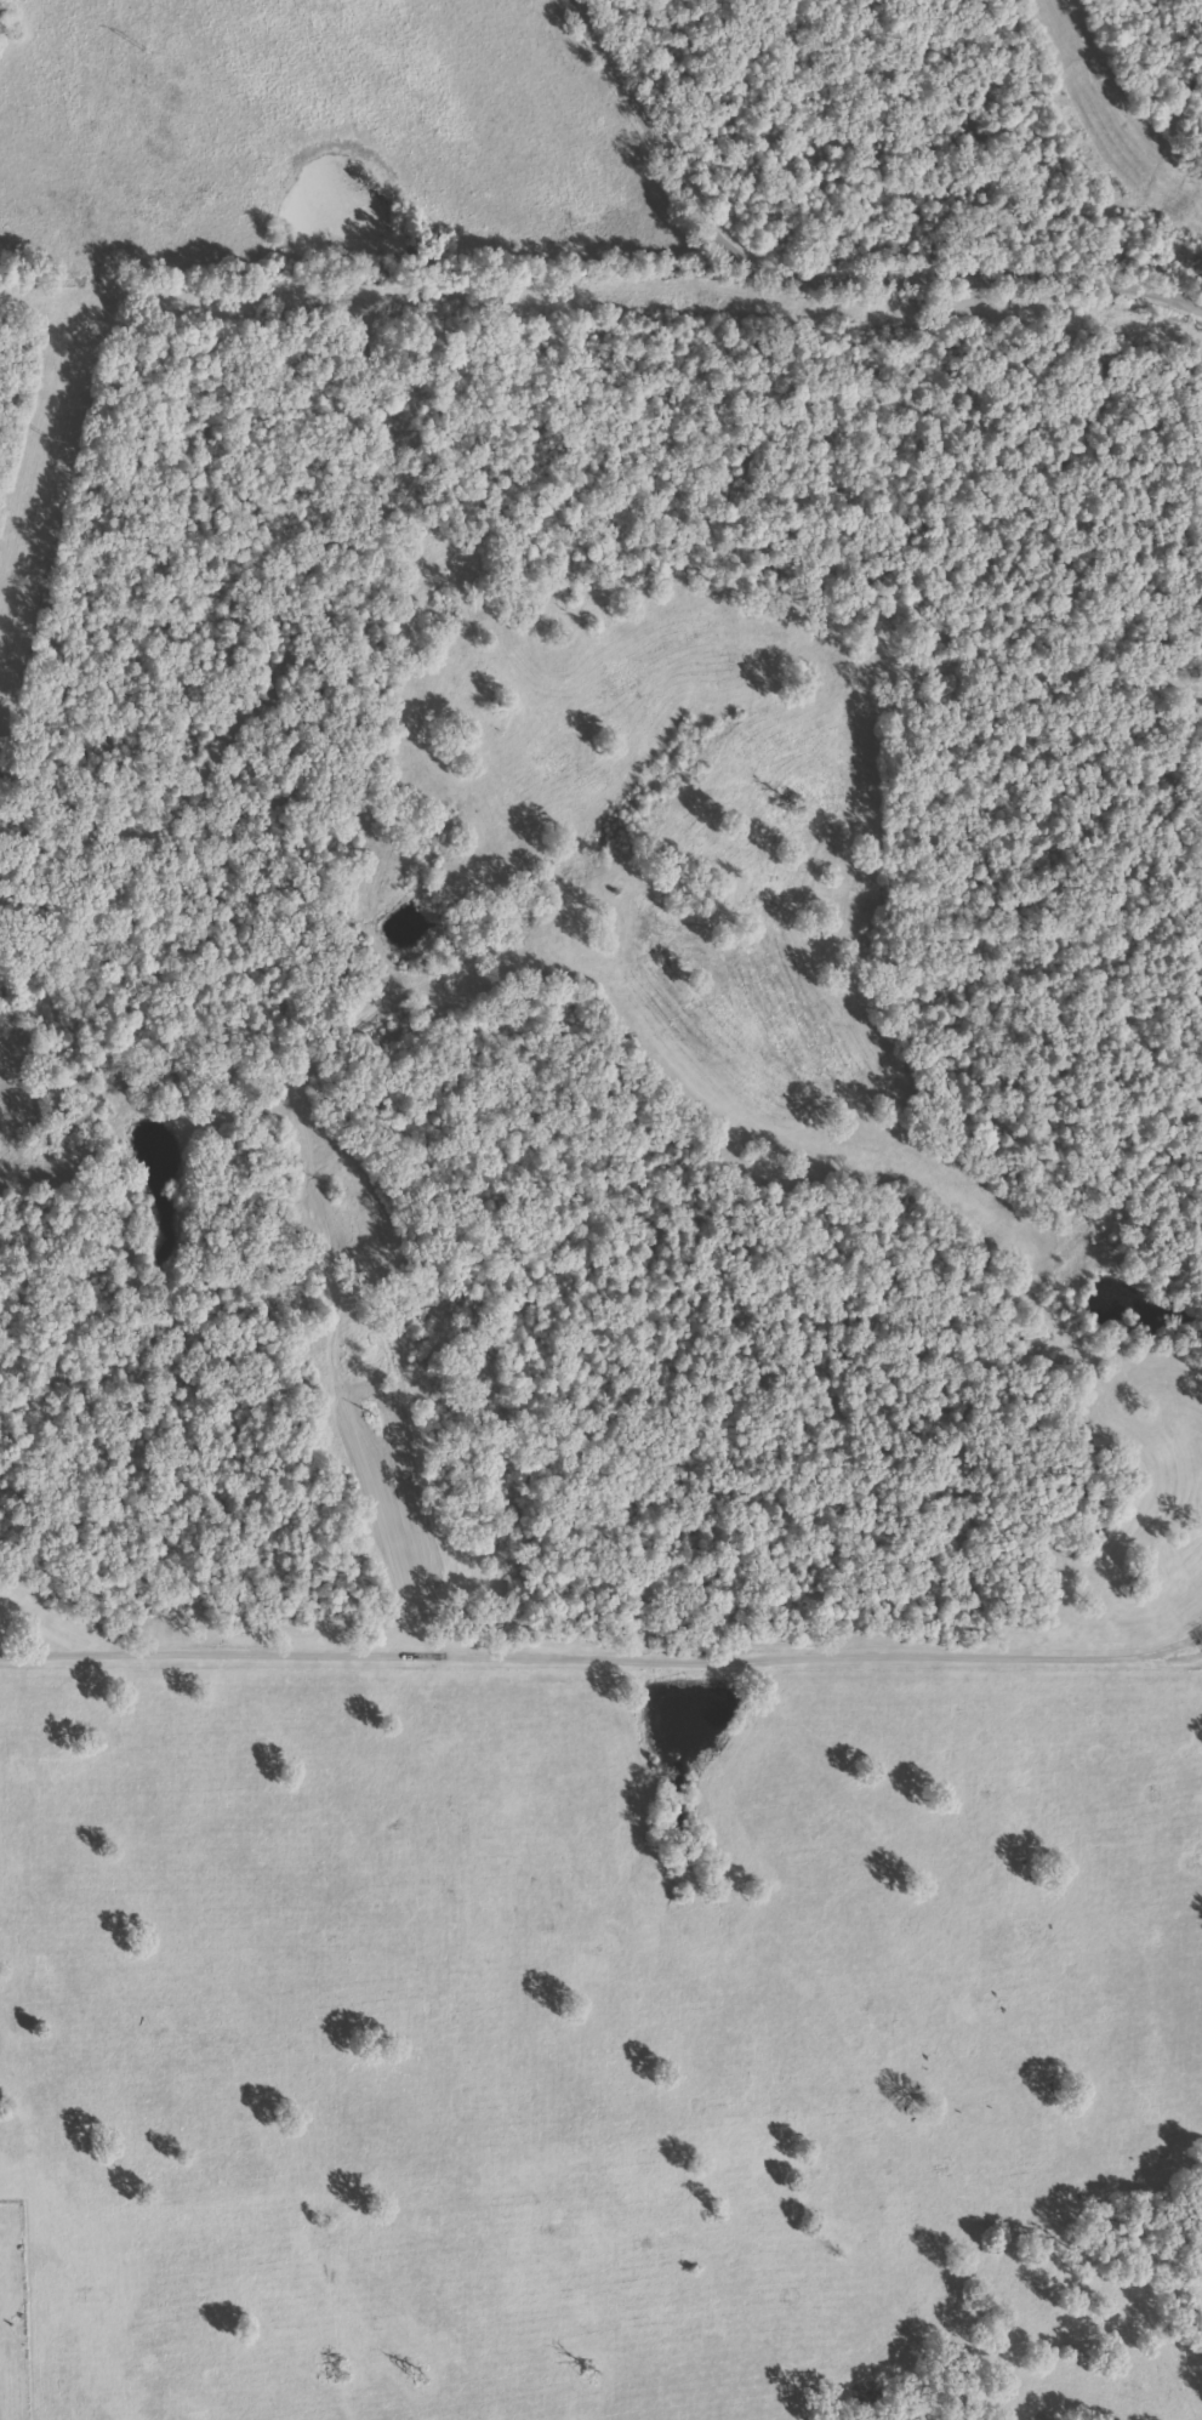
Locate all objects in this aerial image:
power tower: (141, 62)
road: (821, 243)
road: (600, 1662)

